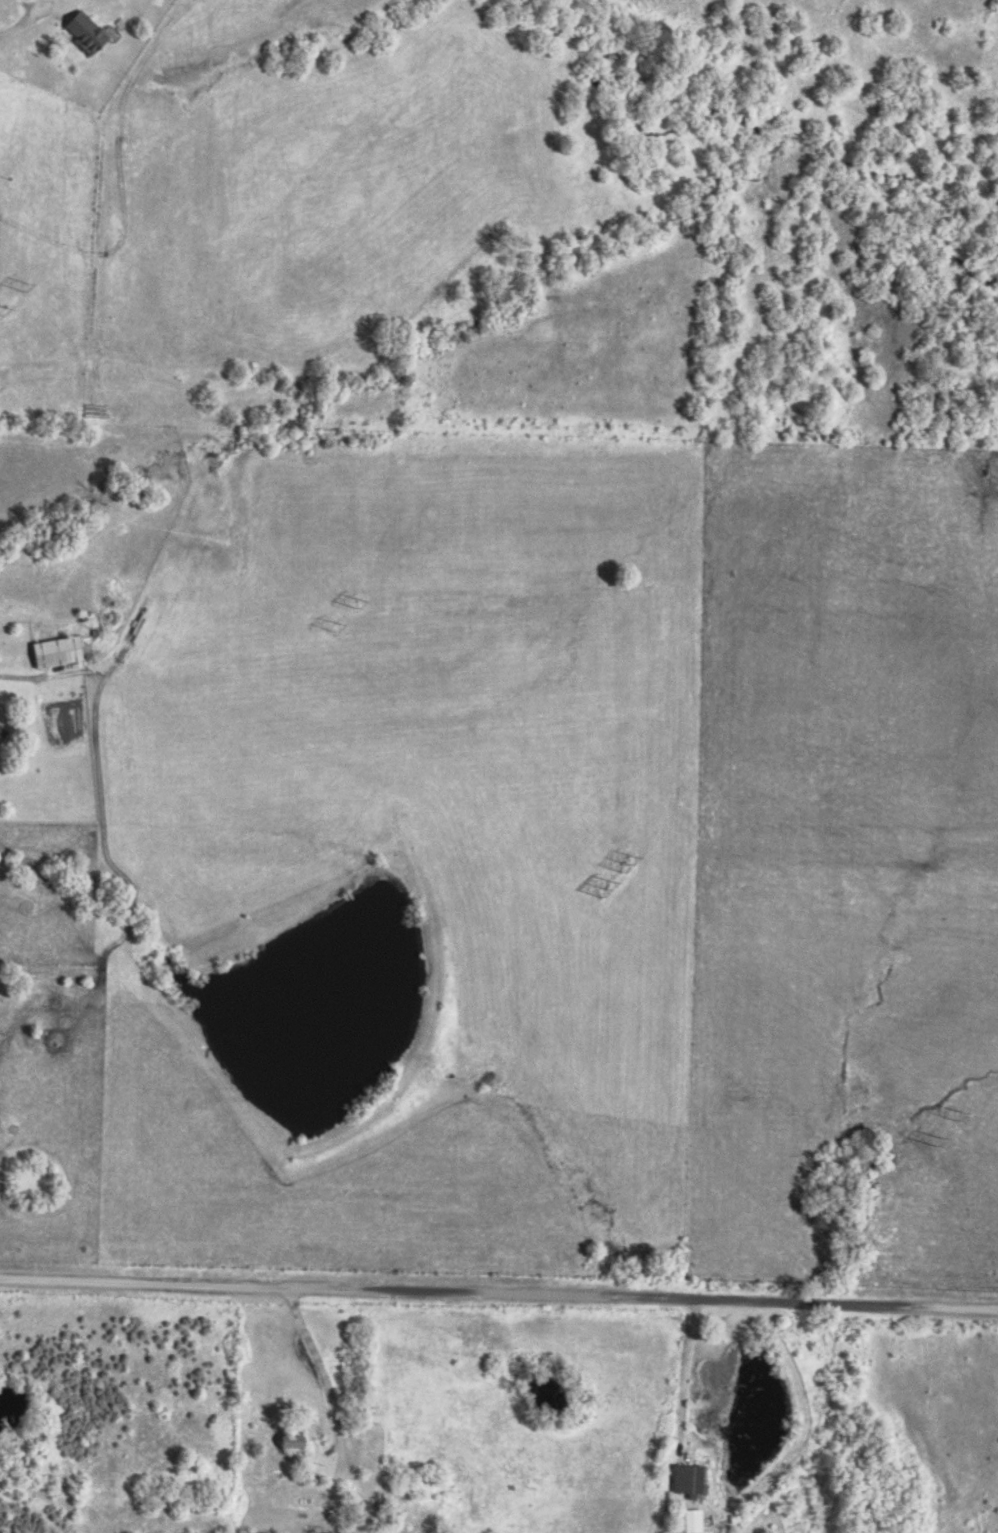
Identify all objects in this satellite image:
road: (13, 27)
building: (83, 31)
power tower: (17, 290)
power tower: (351, 605)
power tower: (327, 627)
building: (54, 651)
building: (1, 733)
power tower: (621, 870)
power tower: (600, 892)
power tower: (950, 1115)
power tower: (933, 1143)
road: (498, 1296)
road: (321, 1371)
road: (681, 1378)
building: (293, 1447)
building: (686, 1478)
building: (688, 1521)

